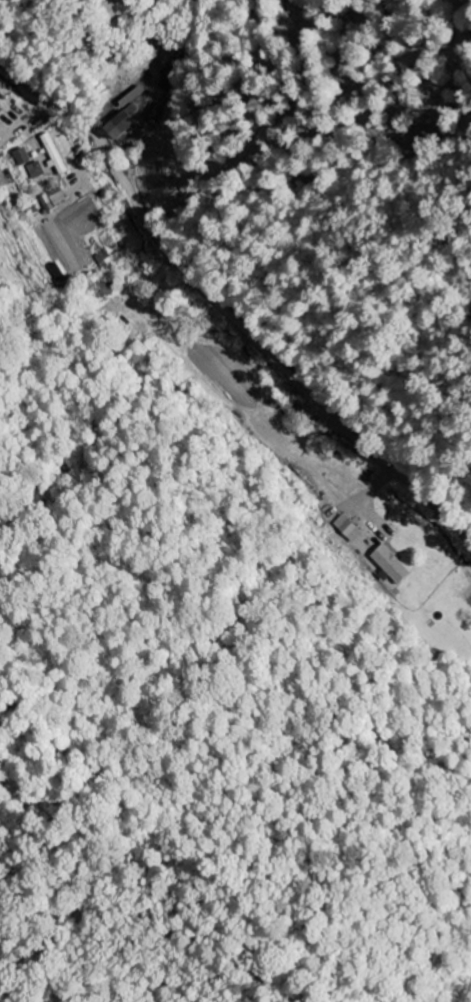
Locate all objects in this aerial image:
building: (0, 109)
building: (115, 127)
building: (52, 155)
building: (20, 158)
building: (35, 171)
building: (3, 181)
building: (52, 200)
road: (222, 309)
building: (347, 529)
building: (388, 566)

